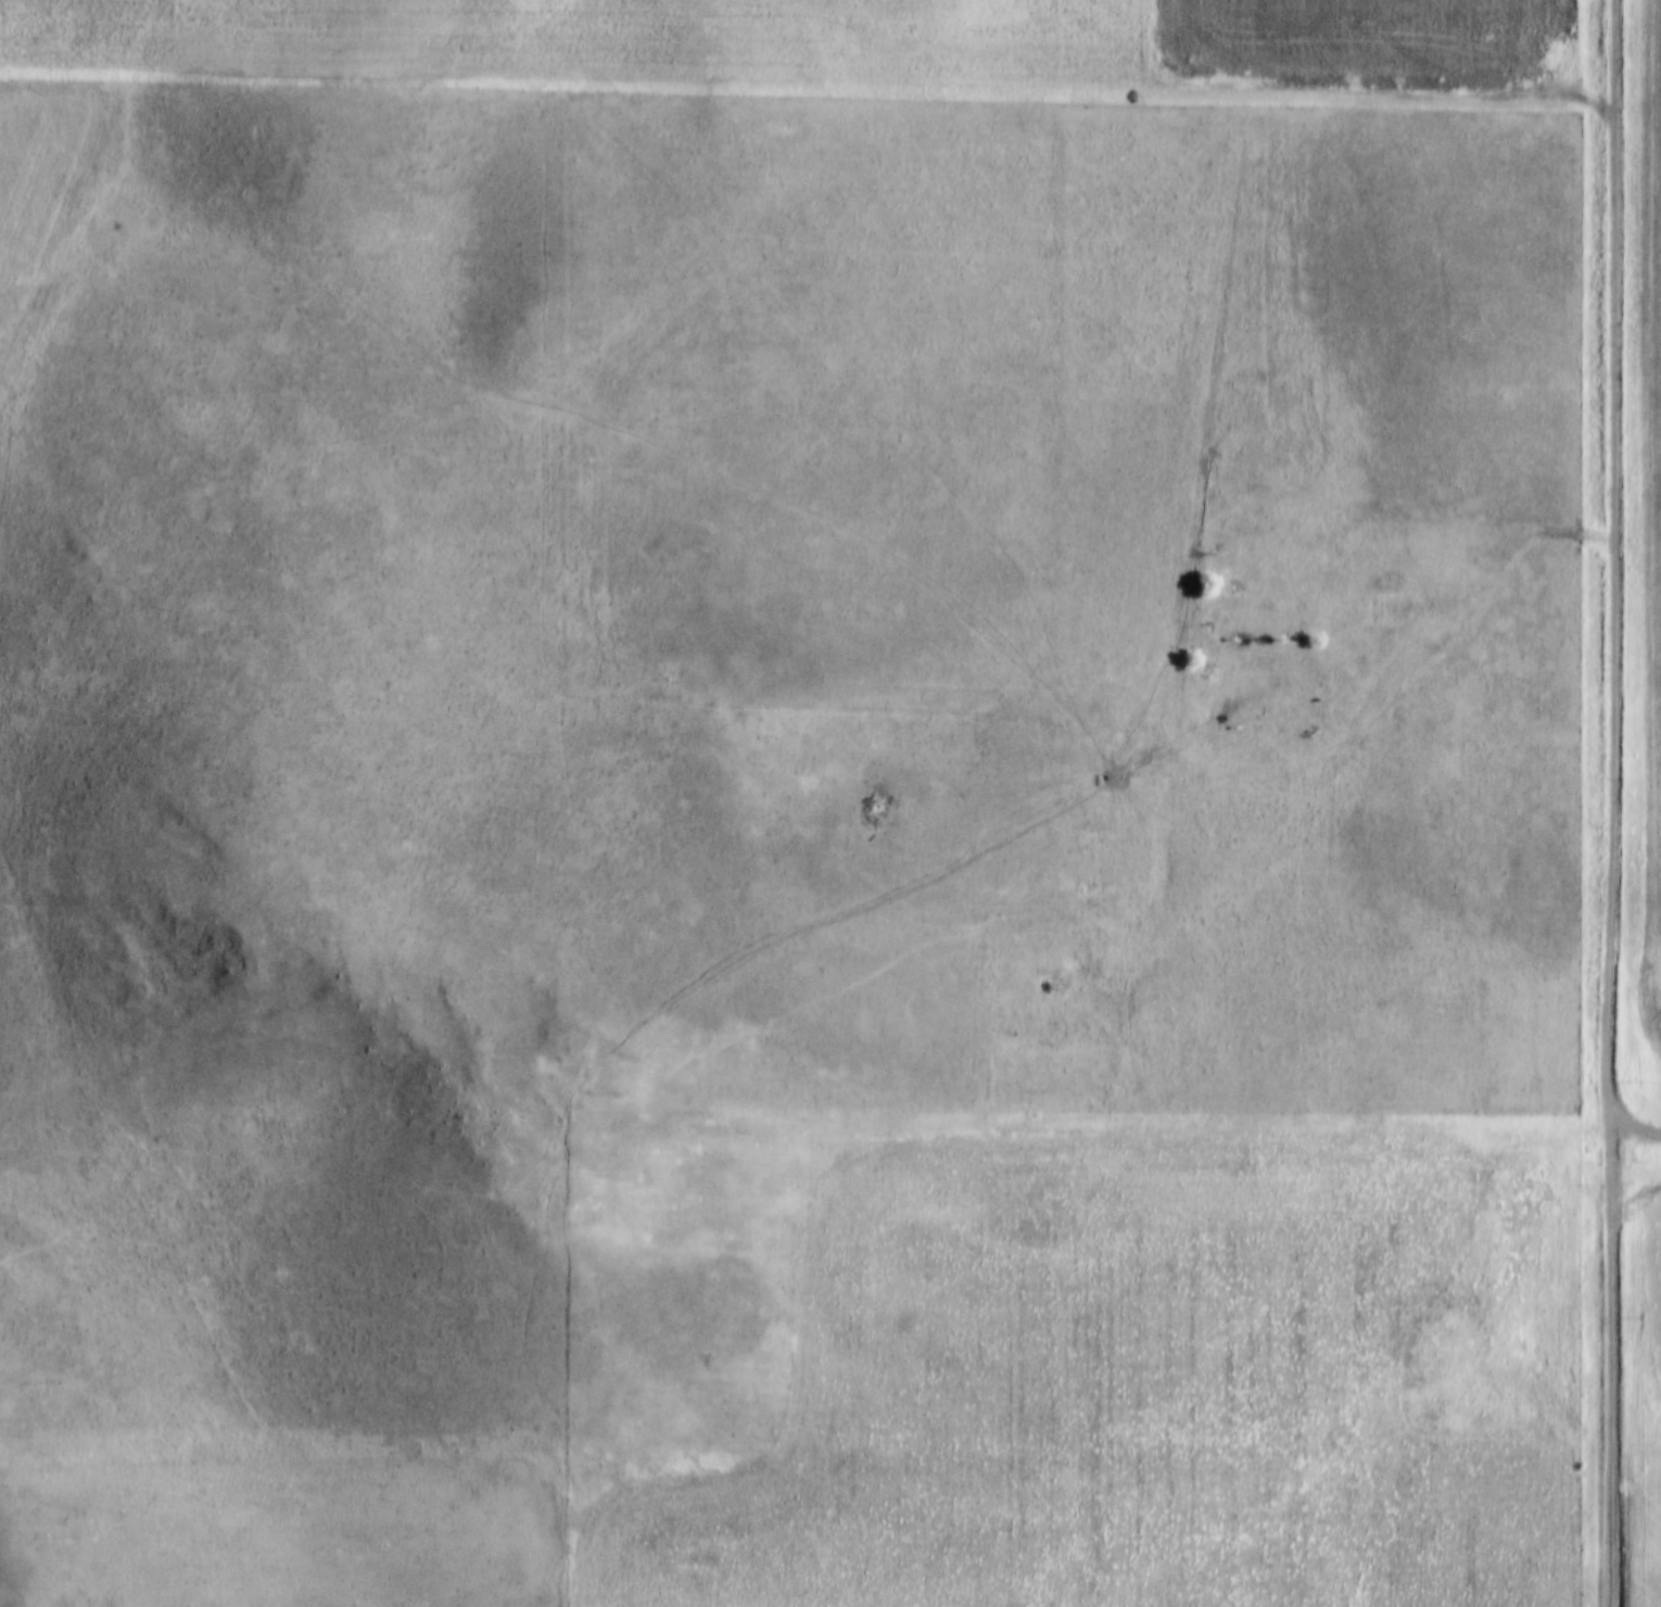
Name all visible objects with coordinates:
road: (1612, 569)
road: (1636, 1139)
road: (1613, 1372)

